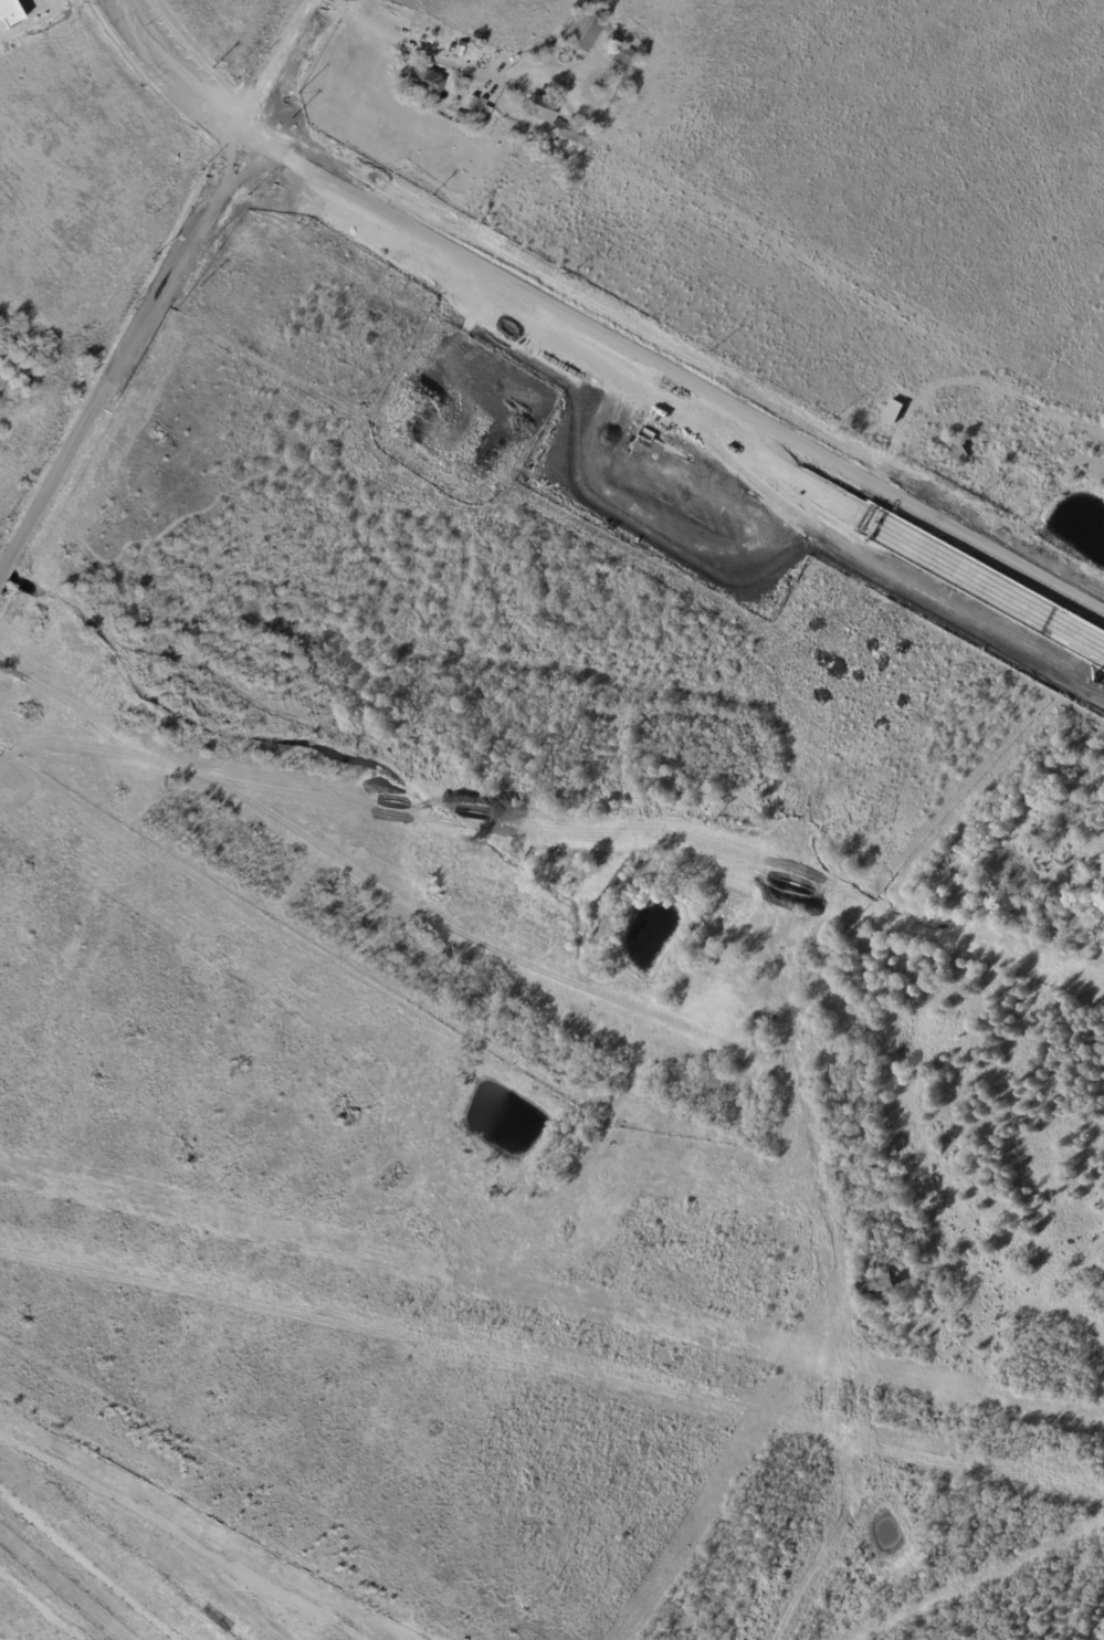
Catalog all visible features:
building: (578, 31)
building: (475, 46)
road: (412, 49)
building: (459, 50)
building: (619, 54)
road: (275, 65)
road: (183, 67)
road: (164, 76)
building: (420, 83)
building: (459, 116)
building: (556, 123)
road: (126, 341)
road: (672, 372)
building: (964, 459)
road: (4, 559)
building: (763, 1027)
building: (761, 1041)
building: (711, 1133)
building: (876, 1285)

